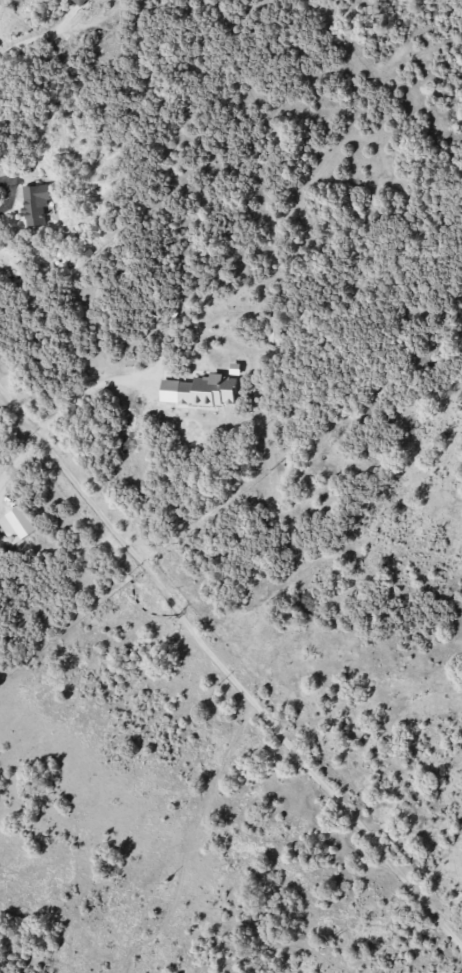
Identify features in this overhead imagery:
building: (78, 1)
road: (9, 194)
building: (35, 205)
road: (87, 389)
building: (200, 390)
building: (17, 524)
road: (226, 673)

